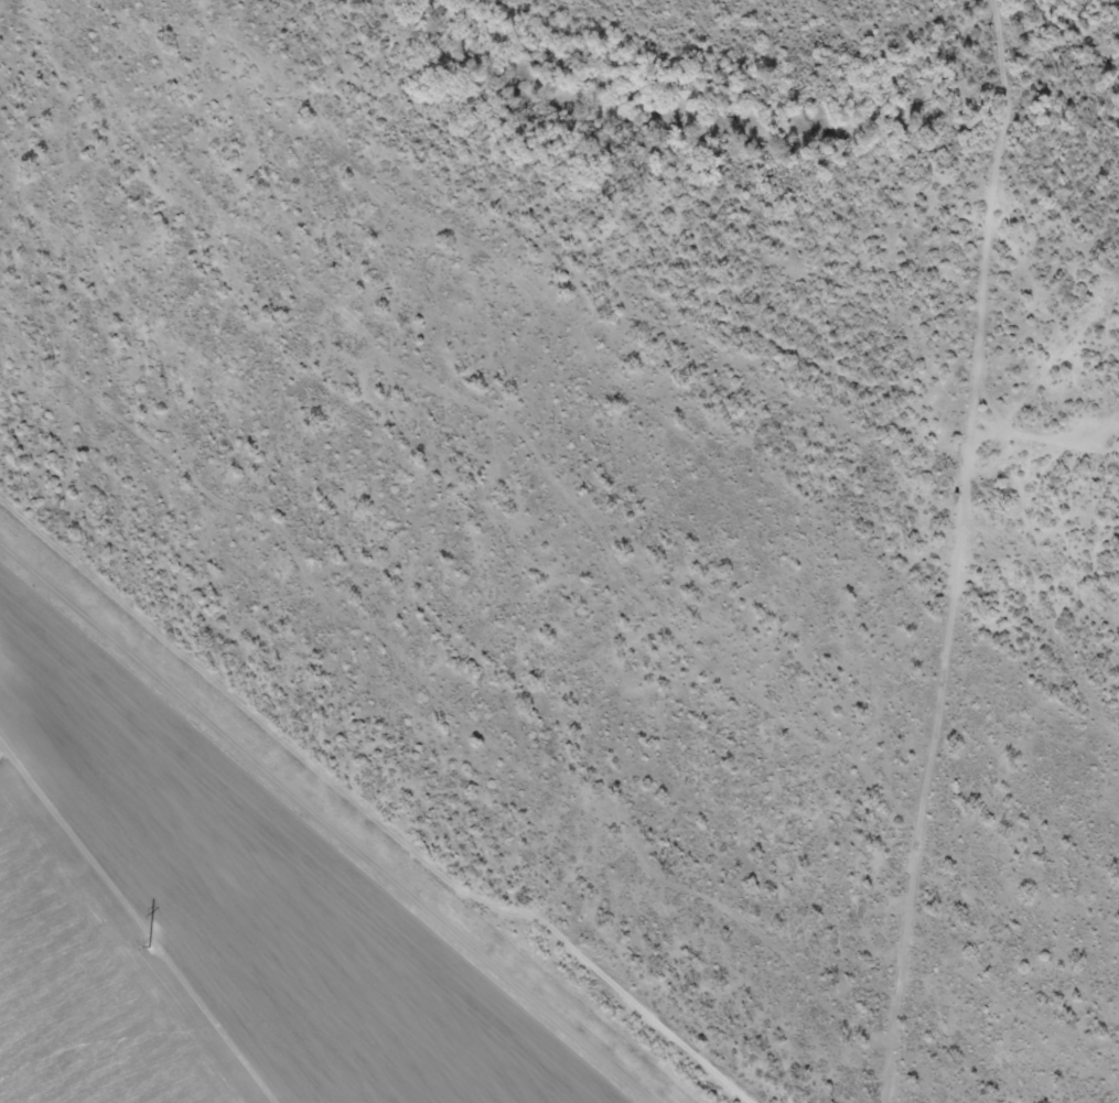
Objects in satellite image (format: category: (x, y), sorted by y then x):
road: (998, 228)
road: (593, 280)
power tower: (140, 937)

